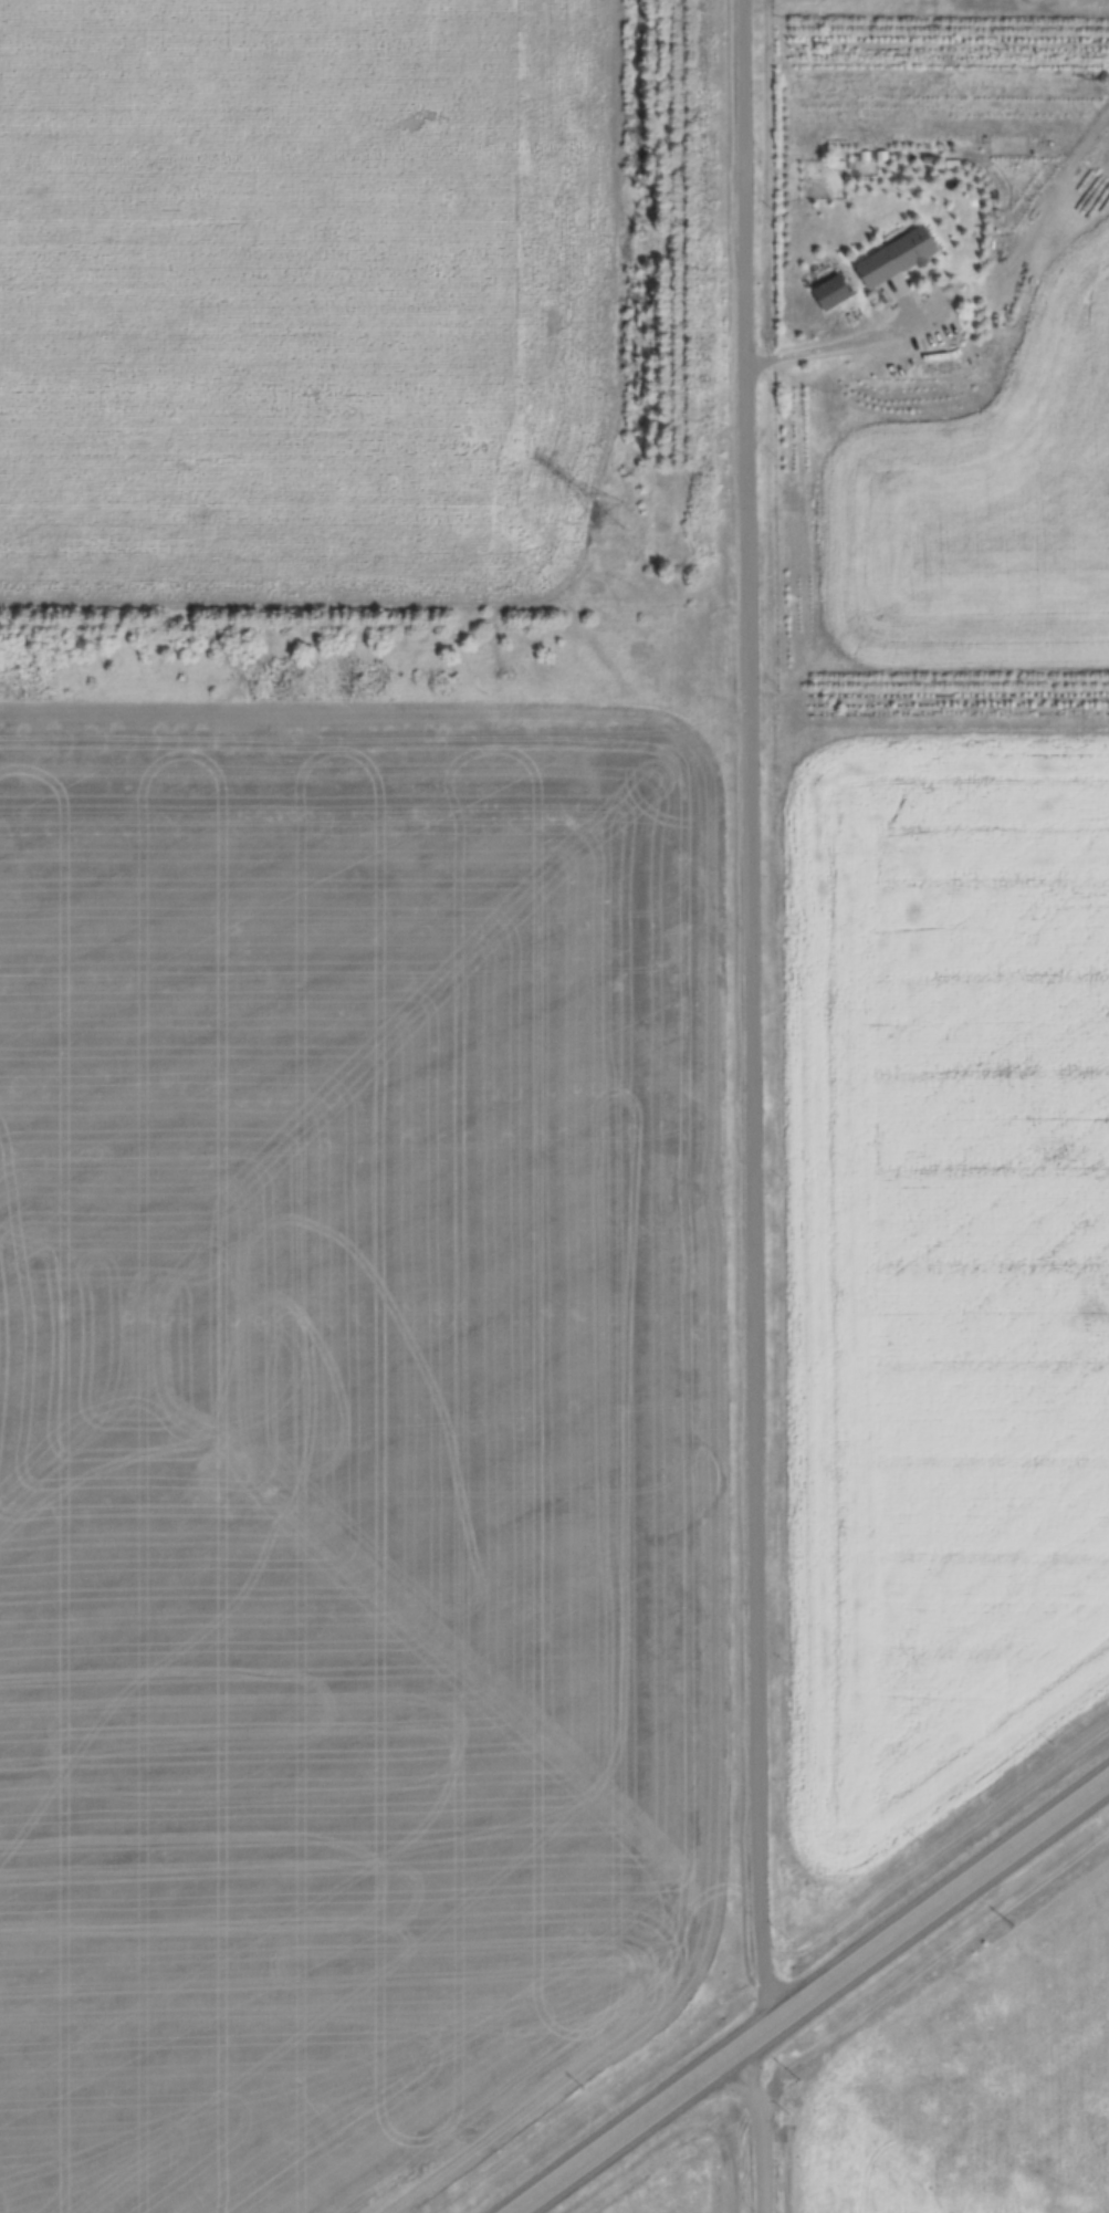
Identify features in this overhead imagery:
building: (893, 265)
building: (830, 293)
power tower: (607, 515)
road: (758, 1106)
road: (813, 1996)

